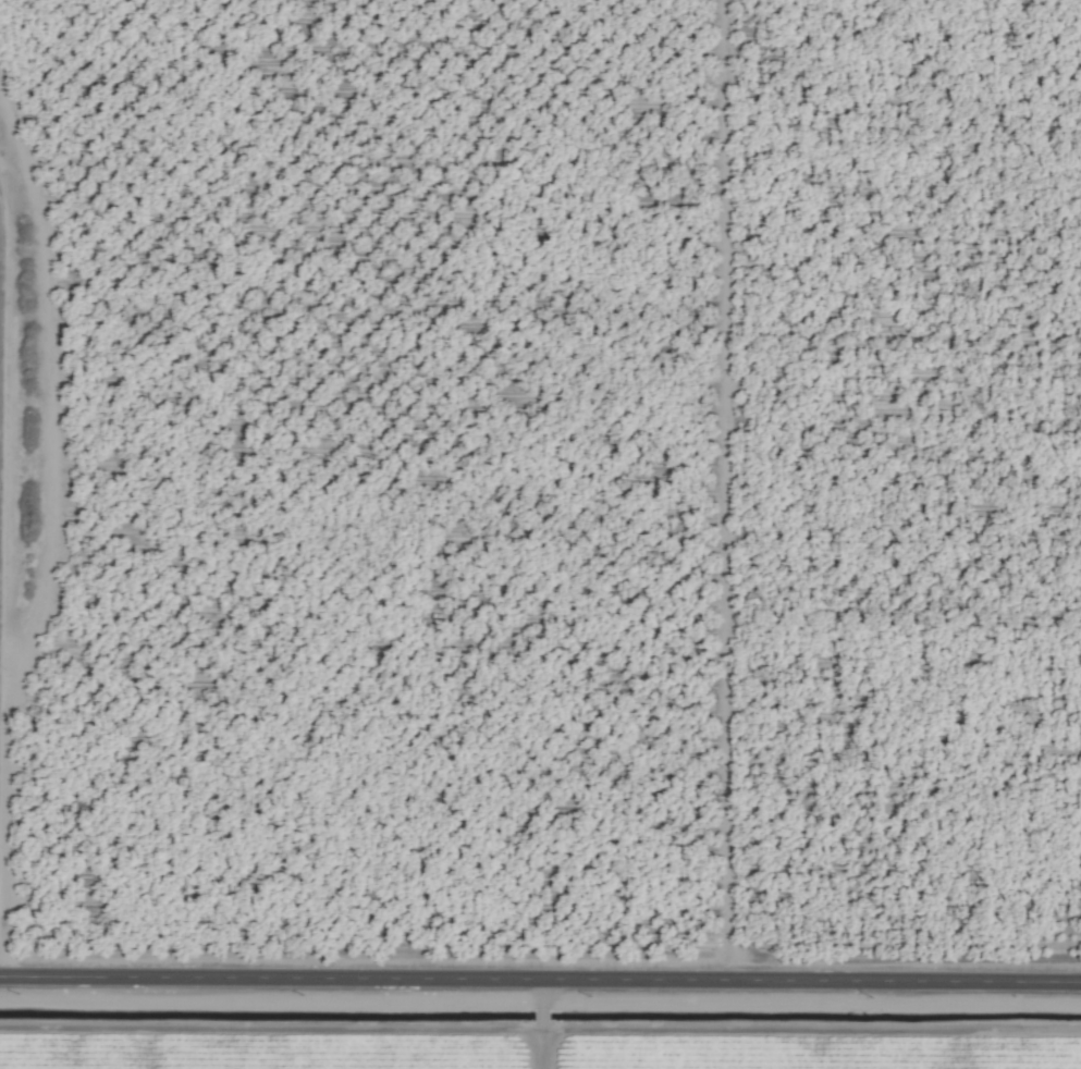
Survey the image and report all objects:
road: (726, 488)
crop: (540, 534)
road: (8, 569)
road: (540, 973)

